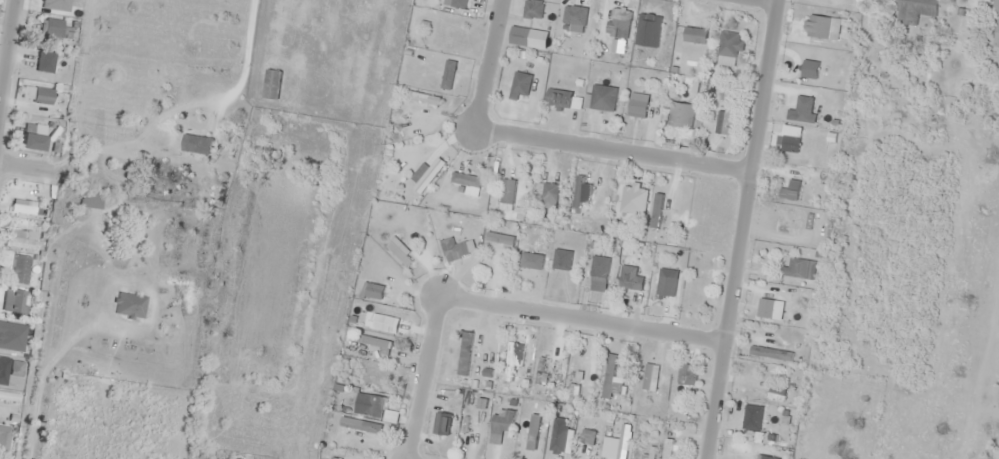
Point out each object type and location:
road: (769, 1)
building: (63, 3)
building: (460, 4)
building: (534, 9)
building: (915, 11)
building: (996, 23)
building: (621, 26)
building: (54, 30)
building: (696, 36)
building: (732, 45)
road: (7, 51)
road: (487, 65)
building: (42, 71)
building: (449, 75)
building: (521, 85)
building: (48, 93)
building: (560, 97)
building: (604, 98)
building: (426, 99)
building: (729, 116)
building: (680, 121)
building: (33, 137)
building: (197, 144)
building: (790, 144)
road: (611, 150)
road: (28, 168)
building: (427, 174)
building: (467, 180)
building: (508, 192)
building: (551, 192)
building: (620, 199)
building: (90, 200)
building: (23, 206)
building: (657, 210)
road: (740, 229)
building: (501, 241)
building: (21, 243)
building: (401, 252)
building: (533, 257)
building: (796, 268)
building: (19, 269)
building: (563, 269)
building: (598, 280)
building: (627, 282)
building: (375, 291)
building: (700, 294)
building: (15, 304)
building: (129, 304)
building: (777, 306)
road: (581, 315)
building: (385, 324)
building: (16, 338)
building: (375, 341)
building: (771, 353)
building: (16, 366)
building: (578, 366)
road: (423, 375)
building: (610, 376)
building: (651, 377)
building: (385, 381)
building: (767, 395)
building: (9, 396)
building: (373, 405)
building: (443, 423)
building: (503, 423)
building: (360, 428)
building: (759, 433)
building: (556, 445)
building: (668, 449)

